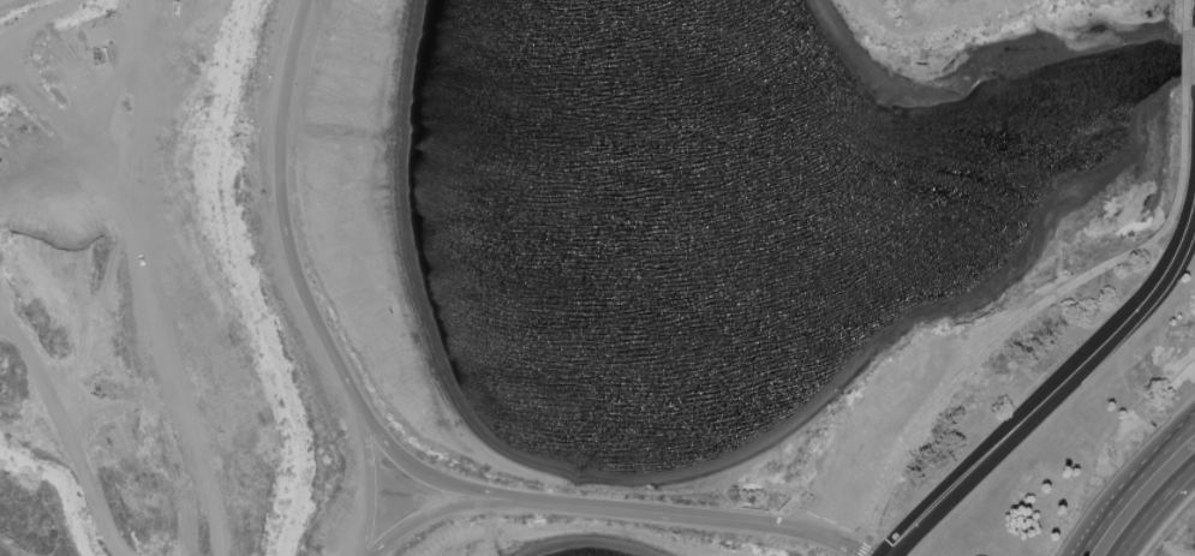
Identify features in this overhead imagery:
road: (1185, 5)
park: (969, 30)
road: (1185, 52)
road: (301, 282)
park: (210, 293)
road: (1028, 313)
road: (1056, 388)
parking lot: (882, 432)
road: (870, 441)
road: (429, 472)
road: (1128, 480)
road: (436, 514)
road: (689, 516)
road: (1159, 516)
road: (1167, 524)
road: (859, 555)
road: (860, 555)

